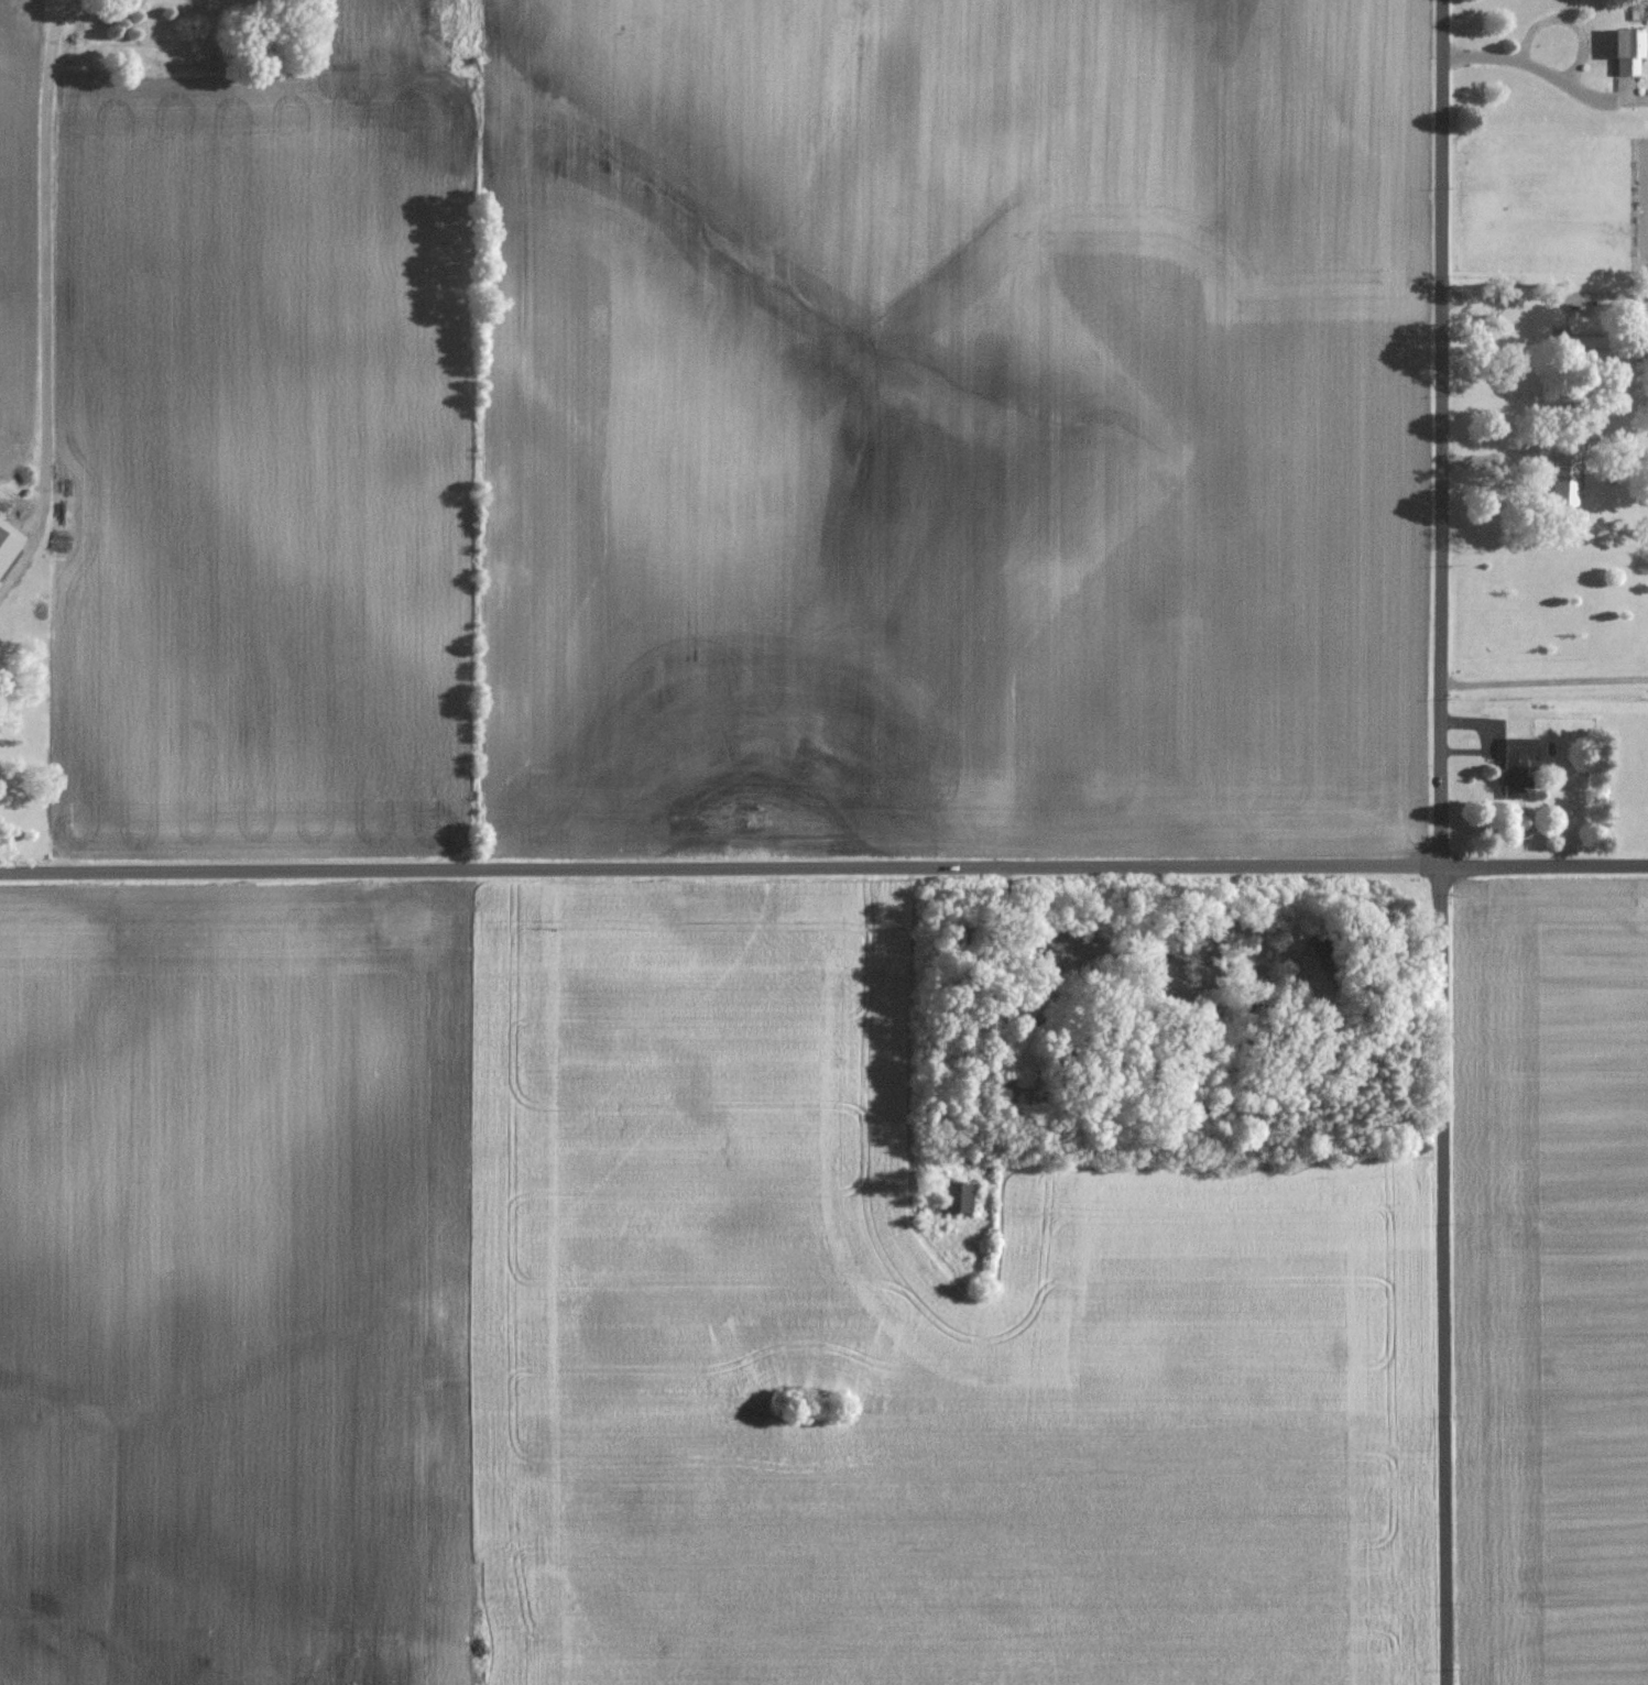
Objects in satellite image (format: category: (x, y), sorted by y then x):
building: (1623, 51)
road: (1569, 66)
road: (1601, 95)
road: (1508, 294)
road: (51, 307)
building: (1585, 341)
building: (1589, 429)
building: (1562, 480)
road: (1545, 679)
building: (1514, 764)
road: (1442, 842)
road: (823, 866)
building: (952, 1196)
crop: (650, 1322)

